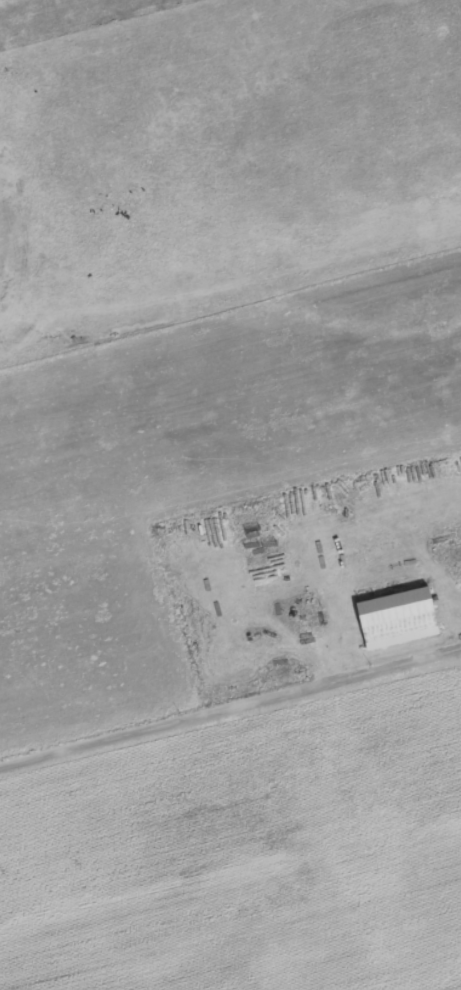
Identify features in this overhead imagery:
building: (392, 619)
road: (230, 672)

